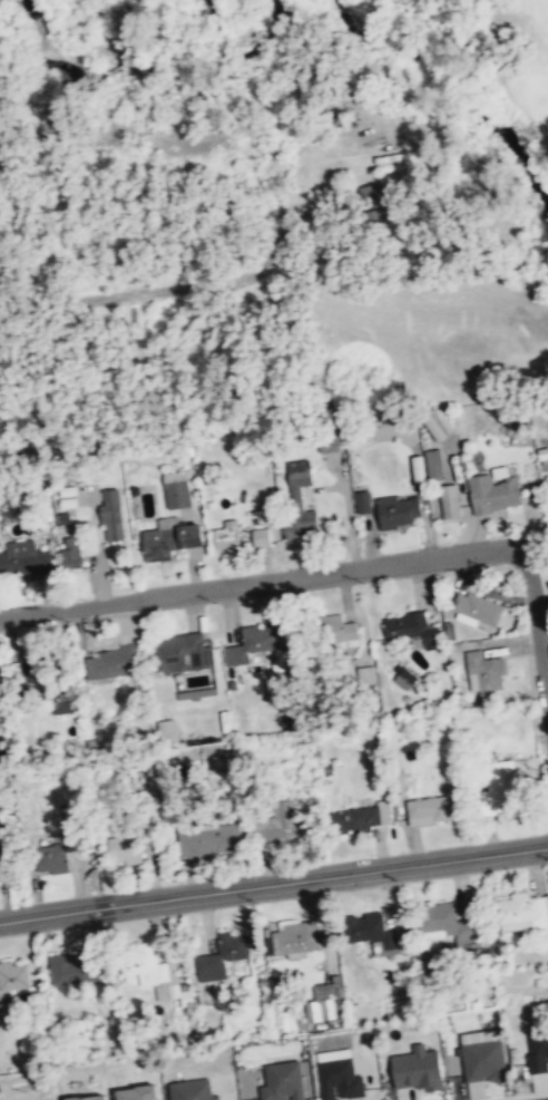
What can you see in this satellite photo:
park: (510, 117)
road: (319, 179)
building: (374, 194)
road: (143, 291)
building: (544, 458)
building: (436, 464)
building: (420, 469)
building: (301, 475)
building: (177, 489)
building: (496, 493)
building: (450, 500)
building: (364, 502)
building: (400, 510)
building: (112, 515)
building: (303, 525)
building: (228, 536)
building: (174, 537)
building: (263, 537)
building: (71, 553)
building: (26, 558)
road: (334, 572)
building: (477, 610)
building: (413, 630)
building: (352, 633)
building: (253, 643)
building: (185, 653)
building: (117, 662)
building: (485, 671)
building: (404, 678)
building: (2, 683)
building: (167, 729)
building: (505, 788)
building: (436, 808)
building: (371, 816)
building: (286, 826)
building: (211, 838)
building: (126, 848)
building: (60, 853)
road: (273, 883)
building: (526, 907)
building: (453, 923)
building: (379, 932)
building: (299, 936)
building: (223, 956)
building: (75, 968)
building: (158, 975)
building: (13, 977)
building: (330, 999)
building: (539, 1050)
building: (485, 1055)
building: (420, 1069)
building: (341, 1079)
building: (284, 1081)
building: (194, 1090)

